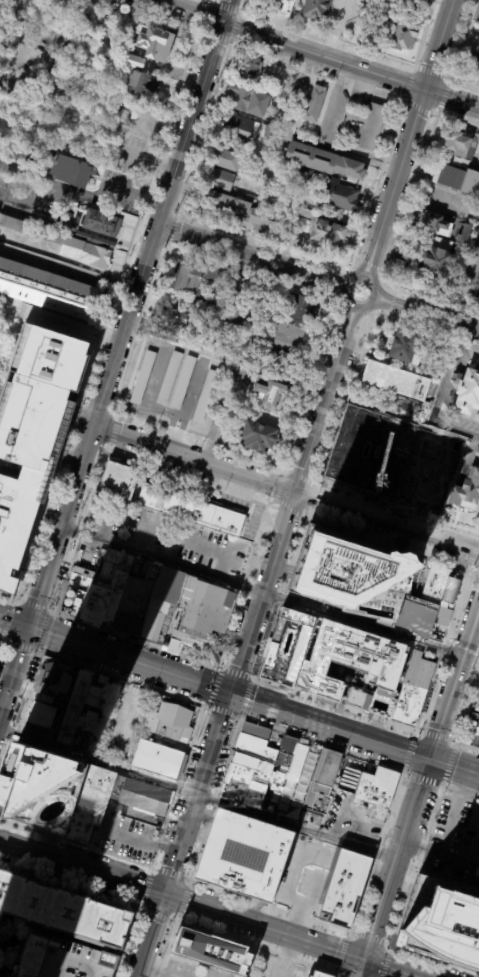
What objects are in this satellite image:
road: (202, 0)
road: (205, 1)
road: (208, 1)
building: (289, 2)
building: (402, 3)
road: (225, 7)
building: (314, 8)
road: (182, 12)
road: (226, 12)
road: (202, 13)
road: (156, 14)
road: (235, 28)
road: (424, 34)
road: (216, 36)
building: (402, 36)
road: (461, 41)
building: (157, 42)
road: (375, 54)
building: (133, 60)
road: (350, 66)
building: (252, 68)
building: (472, 69)
park: (62, 71)
road: (429, 72)
building: (144, 82)
road: (461, 82)
road: (409, 83)
road: (443, 95)
building: (249, 100)
building: (314, 104)
road: (417, 105)
road: (415, 118)
road: (454, 121)
road: (189, 126)
building: (369, 126)
road: (203, 129)
building: (239, 130)
building: (271, 132)
building: (461, 143)
building: (227, 159)
building: (325, 160)
building: (478, 166)
building: (73, 170)
building: (256, 175)
building: (220, 179)
building: (304, 179)
building: (460, 179)
road: (375, 185)
road: (53, 189)
road: (111, 190)
building: (338, 195)
road: (411, 195)
building: (231, 202)
road: (435, 204)
building: (306, 212)
building: (260, 220)
building: (71, 222)
building: (103, 222)
building: (438, 224)
road: (171, 228)
building: (329, 233)
building: (465, 236)
building: (96, 240)
building: (63, 243)
road: (261, 244)
road: (230, 250)
building: (462, 255)
road: (357, 256)
road: (366, 257)
road: (373, 259)
building: (438, 262)
road: (368, 263)
road: (328, 270)
road: (248, 271)
road: (381, 271)
road: (463, 273)
road: (326, 276)
building: (194, 277)
road: (351, 277)
road: (324, 280)
road: (323, 285)
road: (115, 286)
building: (47, 289)
road: (395, 291)
road: (320, 292)
road: (394, 298)
road: (429, 300)
road: (392, 302)
road: (390, 305)
building: (212, 307)
building: (303, 308)
road: (388, 312)
building: (235, 316)
road: (446, 320)
building: (171, 321)
road: (334, 323)
road: (345, 323)
road: (416, 323)
road: (476, 323)
road: (124, 326)
road: (346, 326)
road: (352, 326)
road: (361, 331)
building: (278, 335)
road: (54, 347)
building: (408, 347)
building: (225, 354)
building: (141, 377)
building: (168, 378)
building: (397, 381)
building: (182, 382)
parking lot: (171, 383)
road: (309, 387)
building: (271, 392)
building: (37, 394)
parking garage: (37, 394)
building: (469, 394)
building: (204, 396)
road: (345, 398)
road: (93, 408)
road: (162, 409)
road: (116, 411)
road: (74, 412)
road: (113, 412)
road: (403, 417)
road: (114, 432)
road: (176, 432)
building: (259, 436)
road: (198, 440)
road: (5, 442)
road: (108, 449)
road: (102, 451)
building: (380, 453)
road: (65, 455)
road: (346, 462)
road: (407, 472)
road: (302, 477)
road: (186, 478)
building: (435, 478)
building: (120, 482)
road: (277, 486)
road: (285, 487)
building: (466, 488)
road: (370, 491)
road: (312, 498)
parking lot: (234, 502)
road: (270, 502)
road: (292, 505)
road: (271, 506)
road: (398, 509)
building: (191, 510)
building: (16, 521)
road: (105, 523)
parking lot: (251, 523)
road: (81, 532)
road: (143, 534)
road: (390, 544)
parking lot: (203, 548)
road: (206, 549)
road: (46, 568)
road: (22, 574)
building: (350, 575)
road: (243, 585)
road: (260, 590)
road: (281, 595)
road: (7, 596)
building: (124, 597)
road: (17, 600)
road: (13, 602)
road: (34, 606)
building: (422, 606)
road: (51, 611)
road: (6, 620)
road: (13, 623)
traffic signals: (27, 629)
road: (41, 629)
road: (34, 631)
building: (192, 633)
road: (2, 639)
road: (135, 639)
road: (1, 640)
road: (4, 642)
road: (1, 643)
road: (21, 647)
building: (286, 647)
road: (442, 647)
road: (241, 661)
road: (219, 667)
building: (381, 668)
road: (236, 674)
road: (120, 677)
building: (103, 679)
road: (467, 679)
building: (61, 680)
road: (253, 680)
road: (454, 680)
road: (214, 687)
building: (412, 690)
traffic signals: (232, 694)
road: (235, 695)
road: (245, 698)
road: (206, 705)
road: (334, 705)
road: (0, 708)
building: (75, 708)
road: (466, 708)
building: (45, 711)
road: (223, 711)
road: (240, 718)
building: (166, 720)
road: (414, 731)
building: (470, 731)
road: (13, 740)
building: (256, 741)
road: (322, 743)
road: (467, 747)
building: (290, 752)
traffic signals: (429, 758)
building: (157, 760)
road: (454, 766)
building: (321, 780)
building: (247, 781)
road: (442, 783)
road: (178, 786)
building: (376, 786)
building: (41, 789)
road: (218, 789)
road: (460, 789)
road: (198, 794)
building: (145, 797)
building: (90, 803)
road: (453, 813)
building: (311, 817)
building: (319, 822)
road: (75, 843)
road: (375, 851)
building: (240, 855)
road: (439, 857)
road: (396, 859)
road: (415, 865)
road: (153, 868)
road: (150, 870)
road: (191, 871)
road: (168, 873)
road: (188, 883)
road: (70, 884)
road: (145, 887)
building: (344, 888)
traffic signals: (163, 895)
road: (182, 899)
road: (182, 901)
road: (139, 904)
road: (269, 907)
building: (63, 910)
road: (142, 910)
road: (155, 915)
road: (176, 917)
road: (169, 920)
building: (441, 923)
road: (370, 940)
road: (129, 943)
parking lot: (156, 946)
road: (255, 947)
road: (162, 948)
parking lot: (132, 951)
building: (209, 952)
road: (345, 954)
building: (65, 959)
traffic signals: (364, 960)
road: (434, 961)
road: (384, 962)
road: (361, 968)
road: (389, 968)
building: (318, 974)
road: (338, 975)
road: (342, 975)

